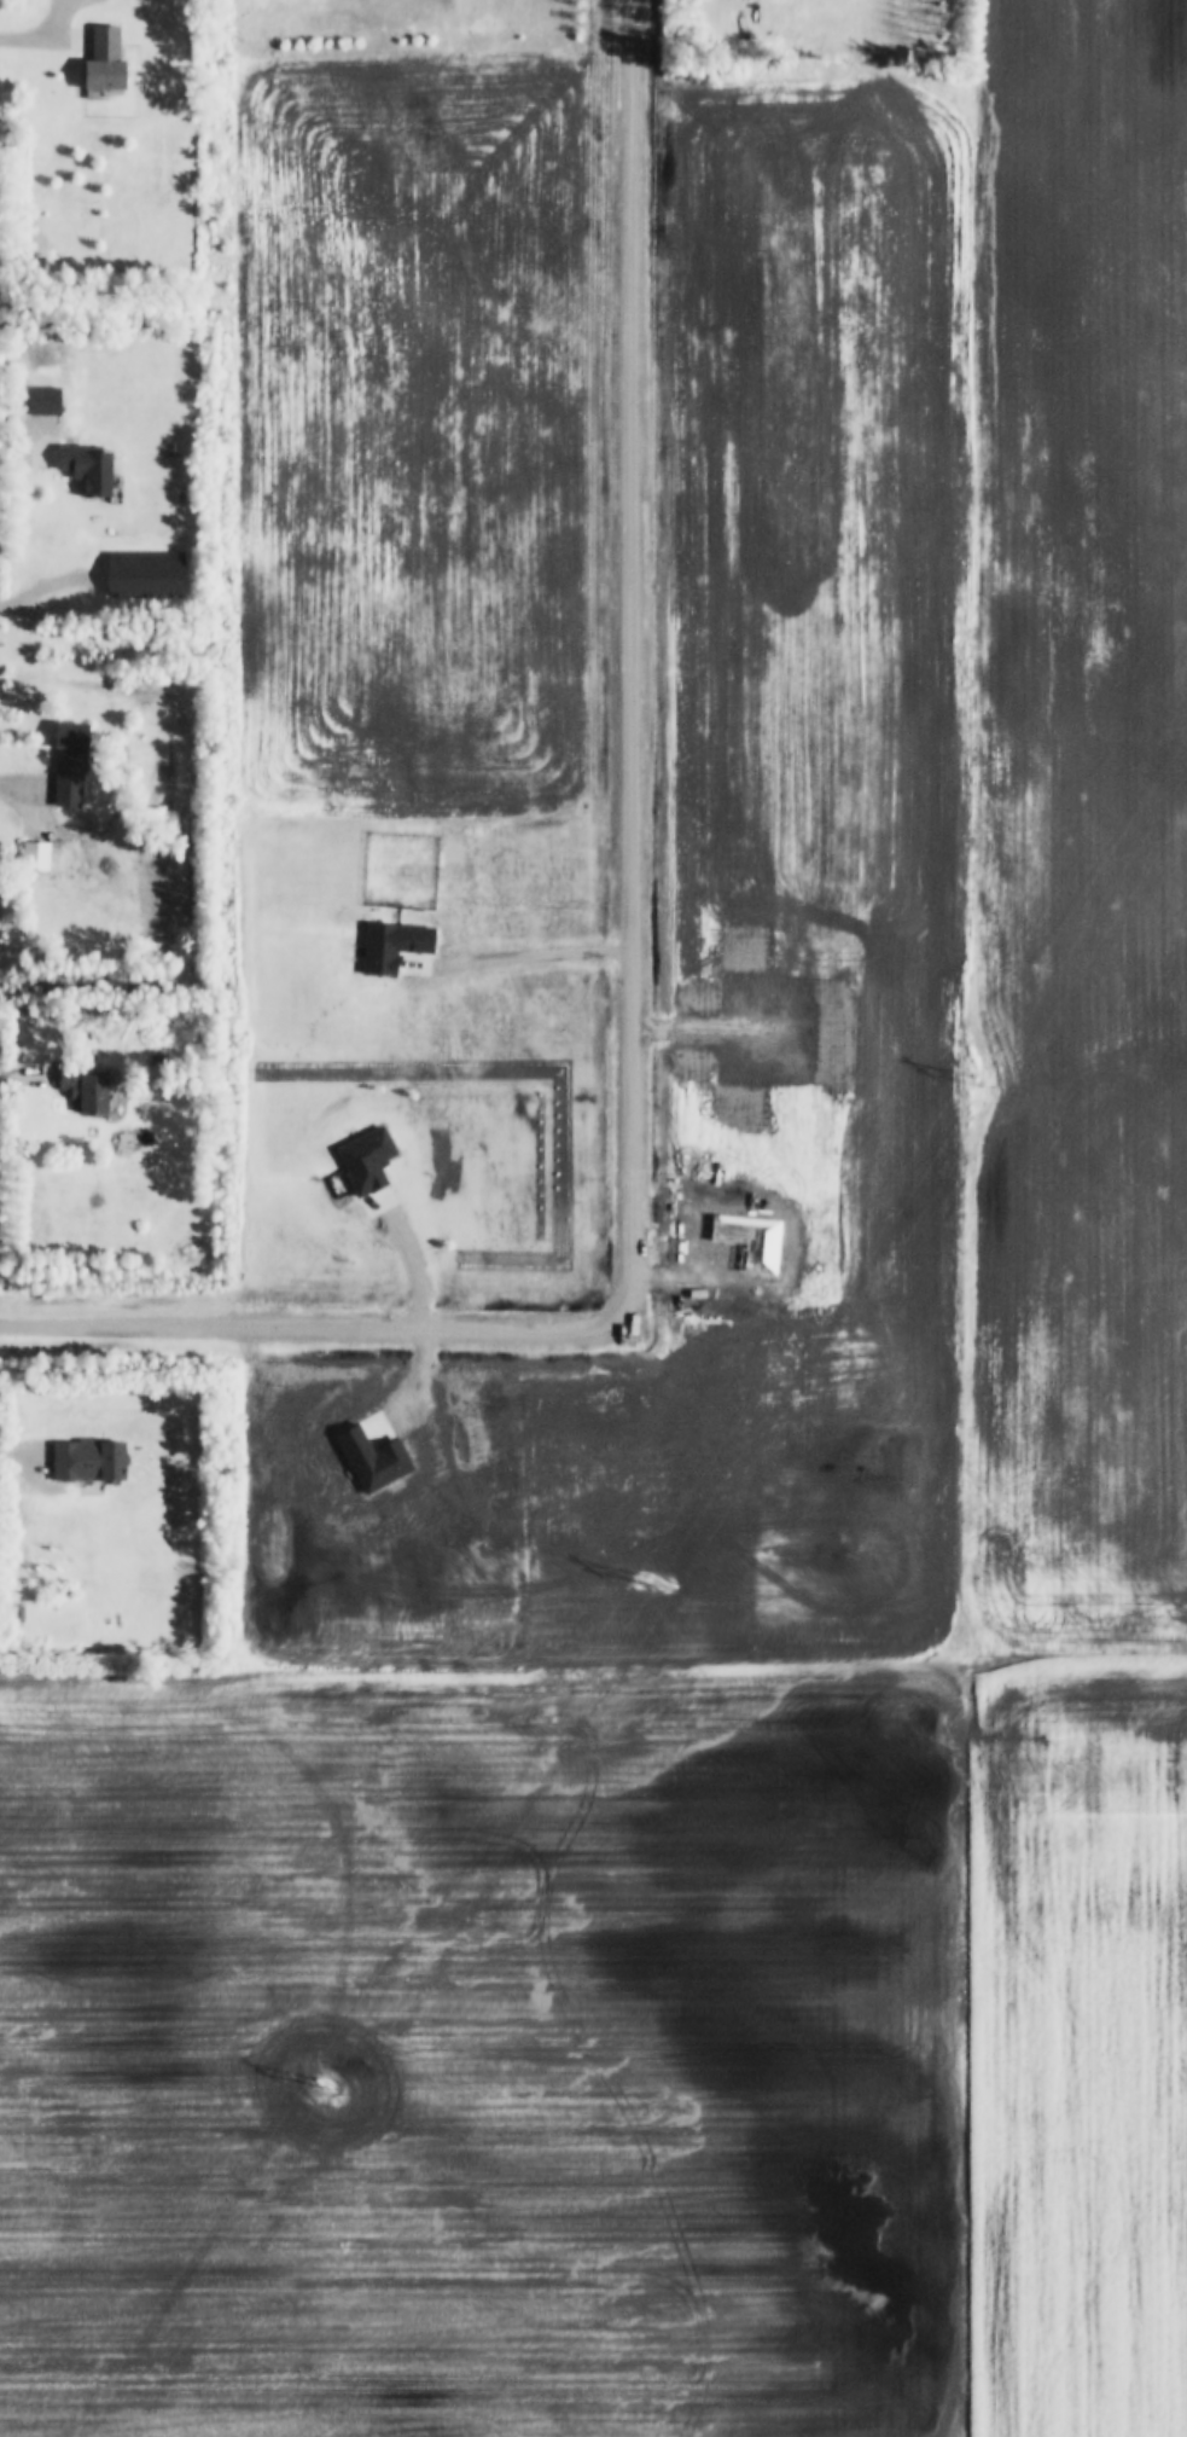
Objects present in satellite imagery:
building: (100, 58)
building: (45, 402)
building: (88, 470)
crop: (407, 678)
building: (71, 766)
building: (36, 857)
road: (623, 973)
power tower: (981, 1081)
building: (87, 1087)
road: (16, 1449)
building: (89, 1461)
crop: (734, 1479)
power tower: (652, 1580)
power tower: (321, 2084)

